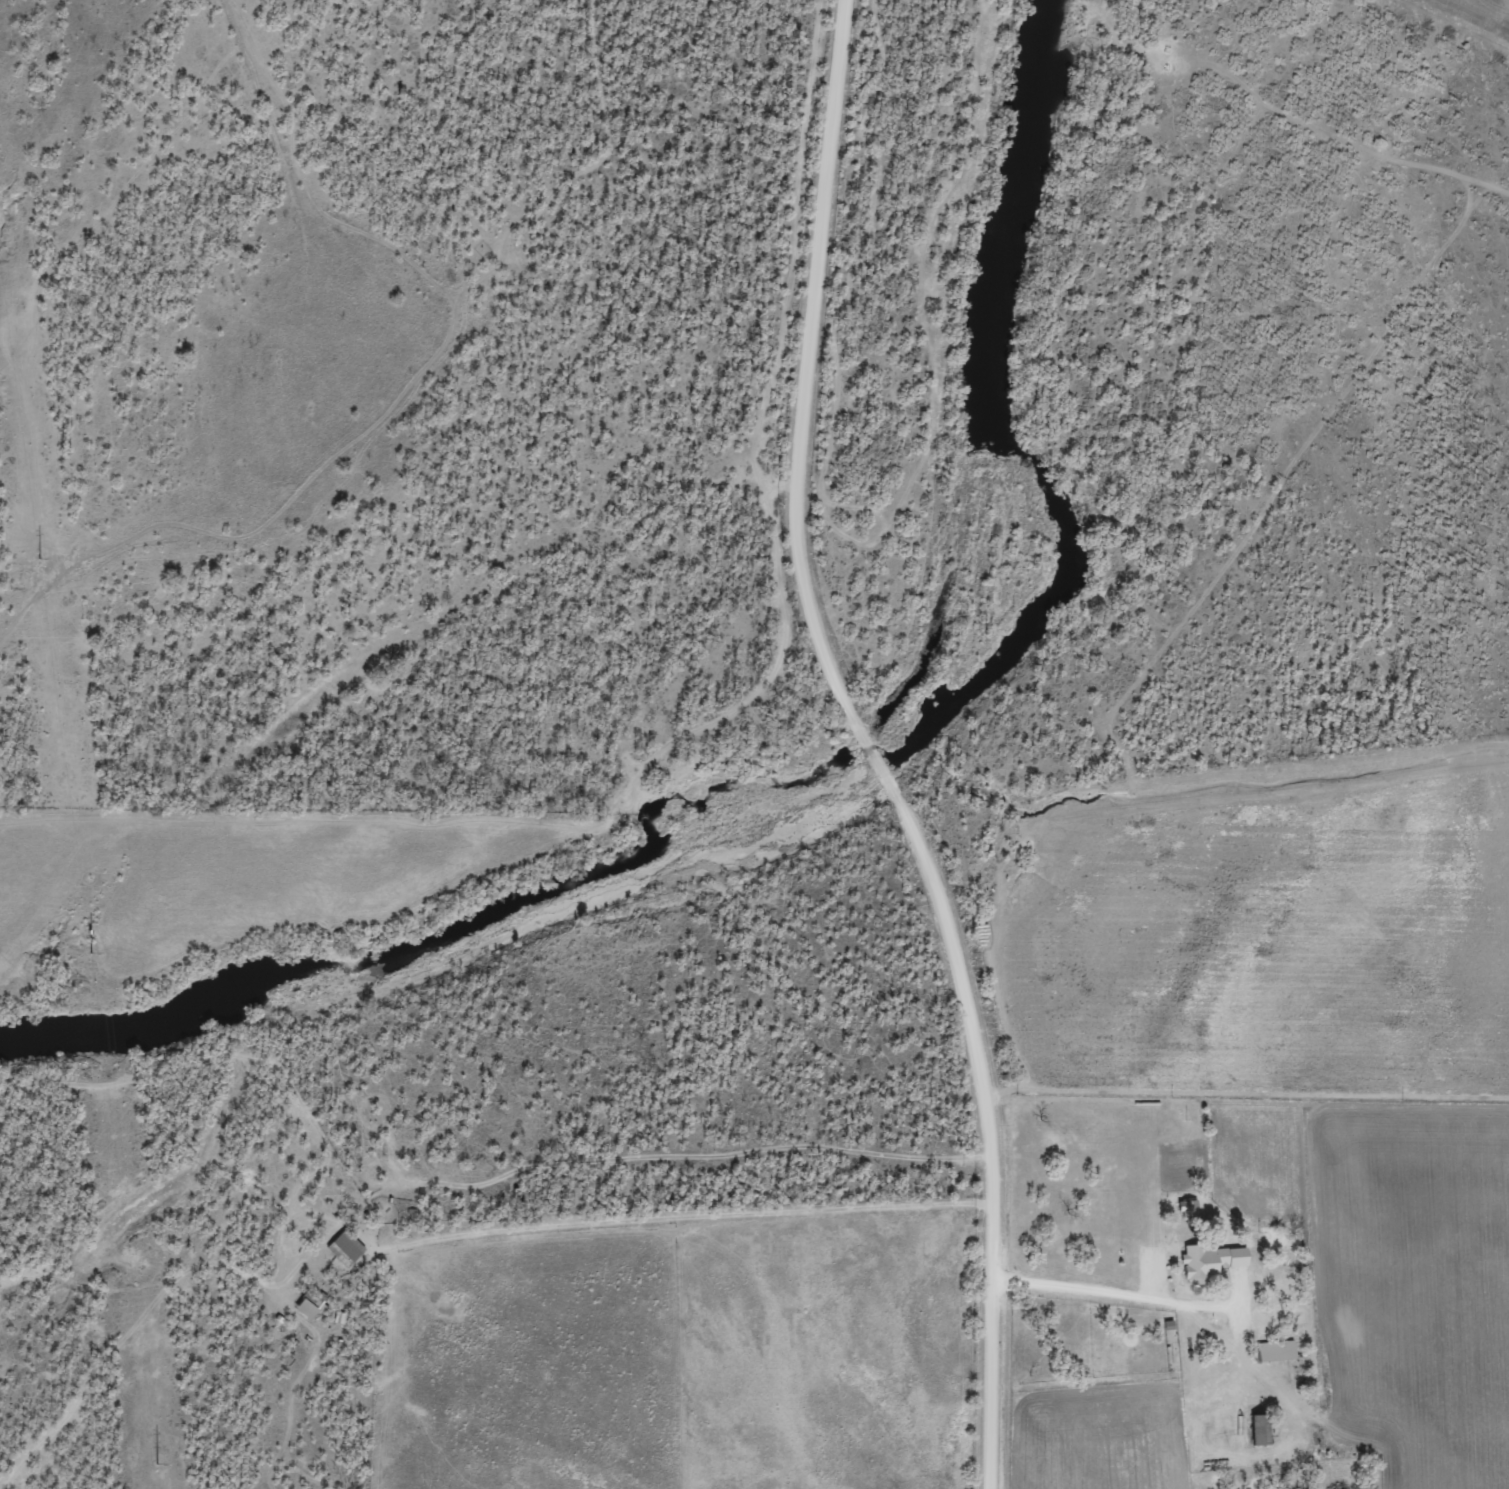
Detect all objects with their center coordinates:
road: (792, 377)
power tower: (40, 556)
road: (867, 750)
power tower: (91, 951)
road: (963, 1112)
road: (652, 1160)
road: (578, 1204)
building: (1191, 1208)
building: (349, 1246)
building: (1213, 1261)
building: (314, 1302)
building: (1279, 1350)
power tower: (157, 1464)

